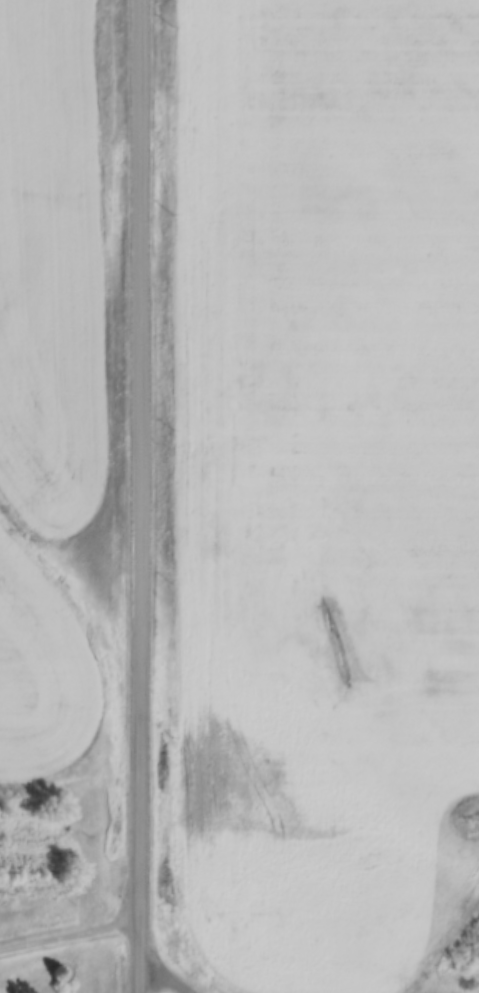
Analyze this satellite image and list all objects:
road: (139, 496)
road: (70, 935)
road: (165, 980)

